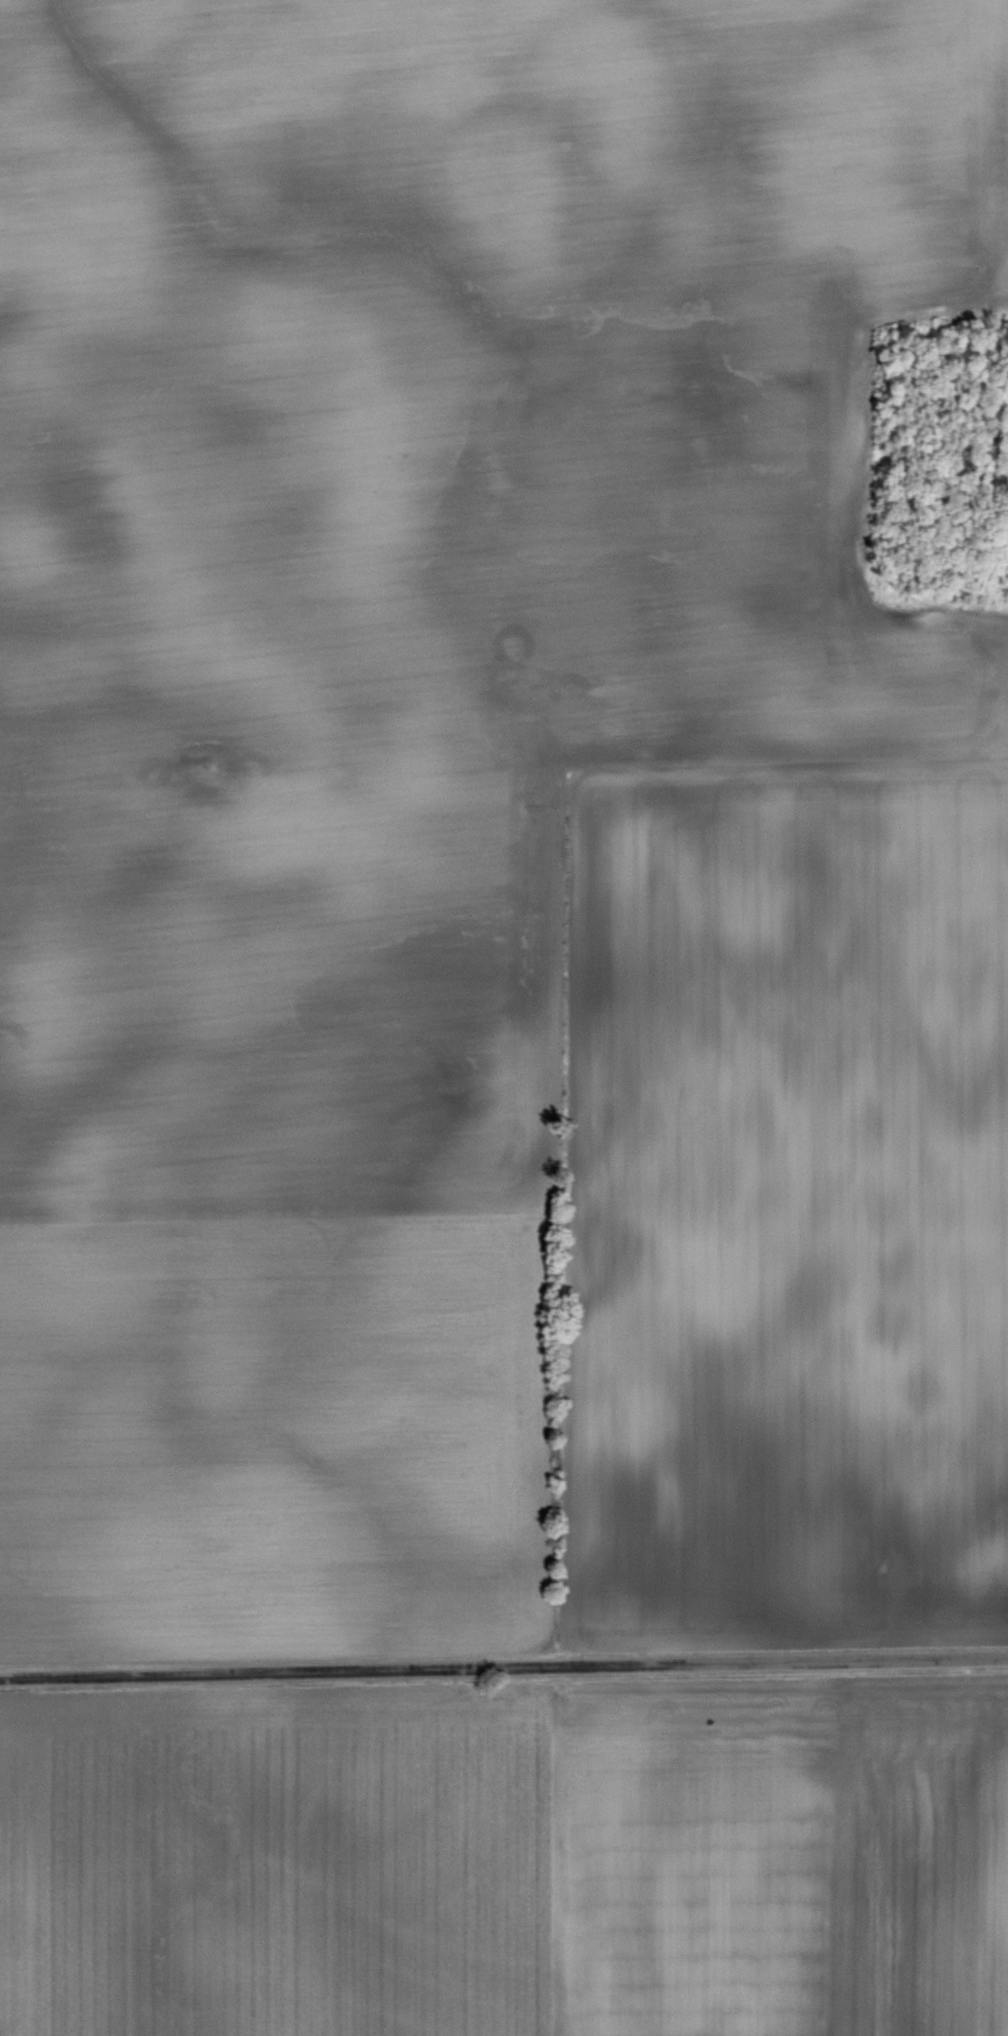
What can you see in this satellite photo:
road: (504, 1668)

